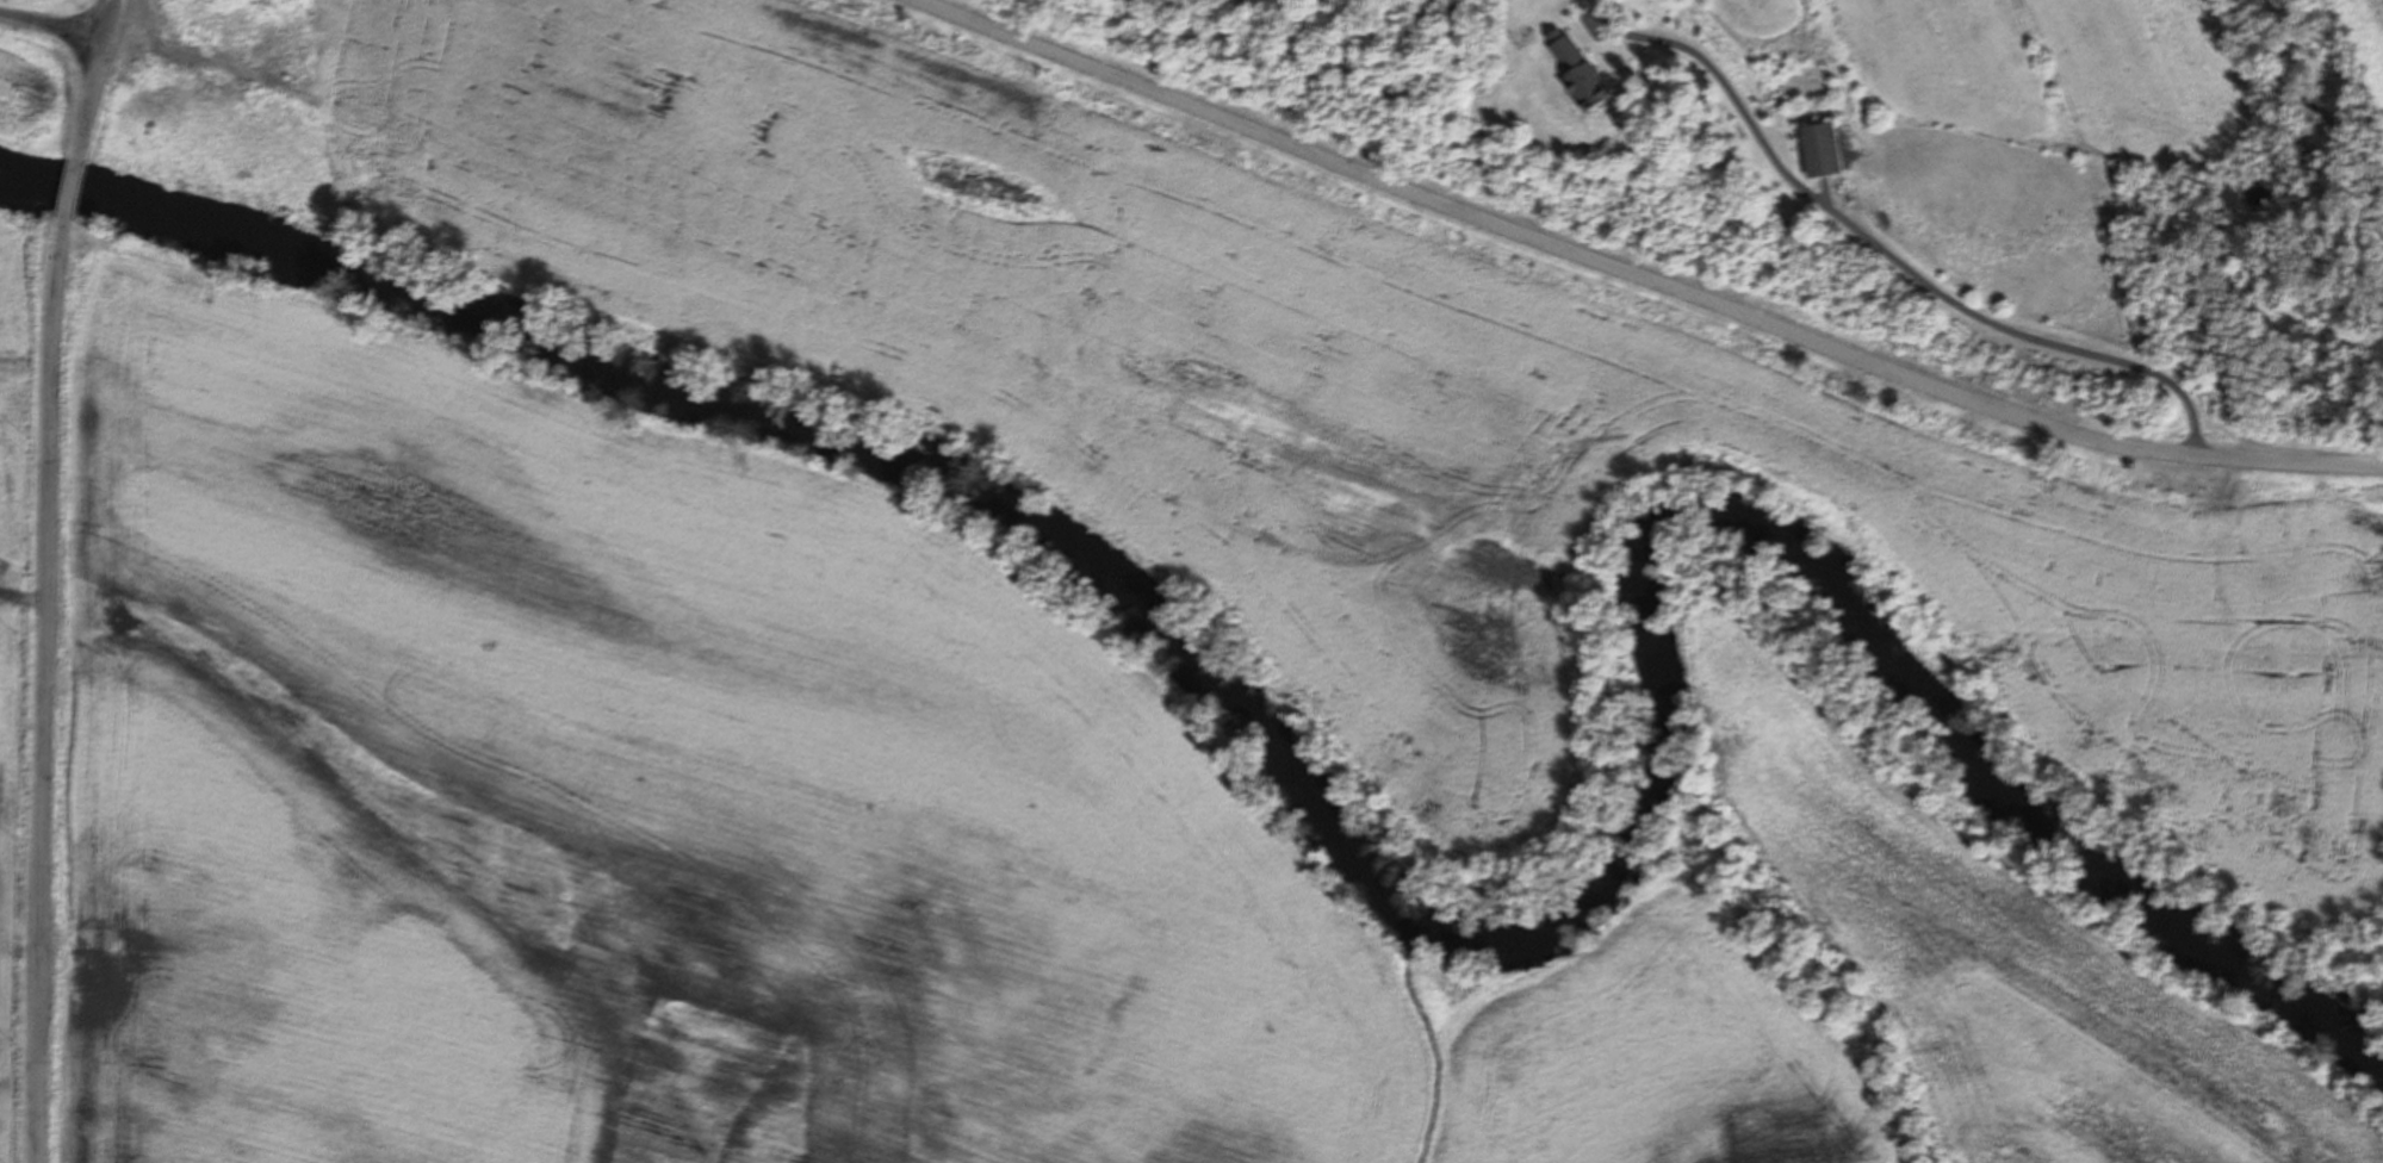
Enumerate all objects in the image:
road: (51, 24)
building: (1574, 71)
road: (93, 80)
building: (1820, 149)
road: (67, 197)
road: (1886, 254)
road: (1638, 275)
road: (43, 697)
river: (1349, 865)

